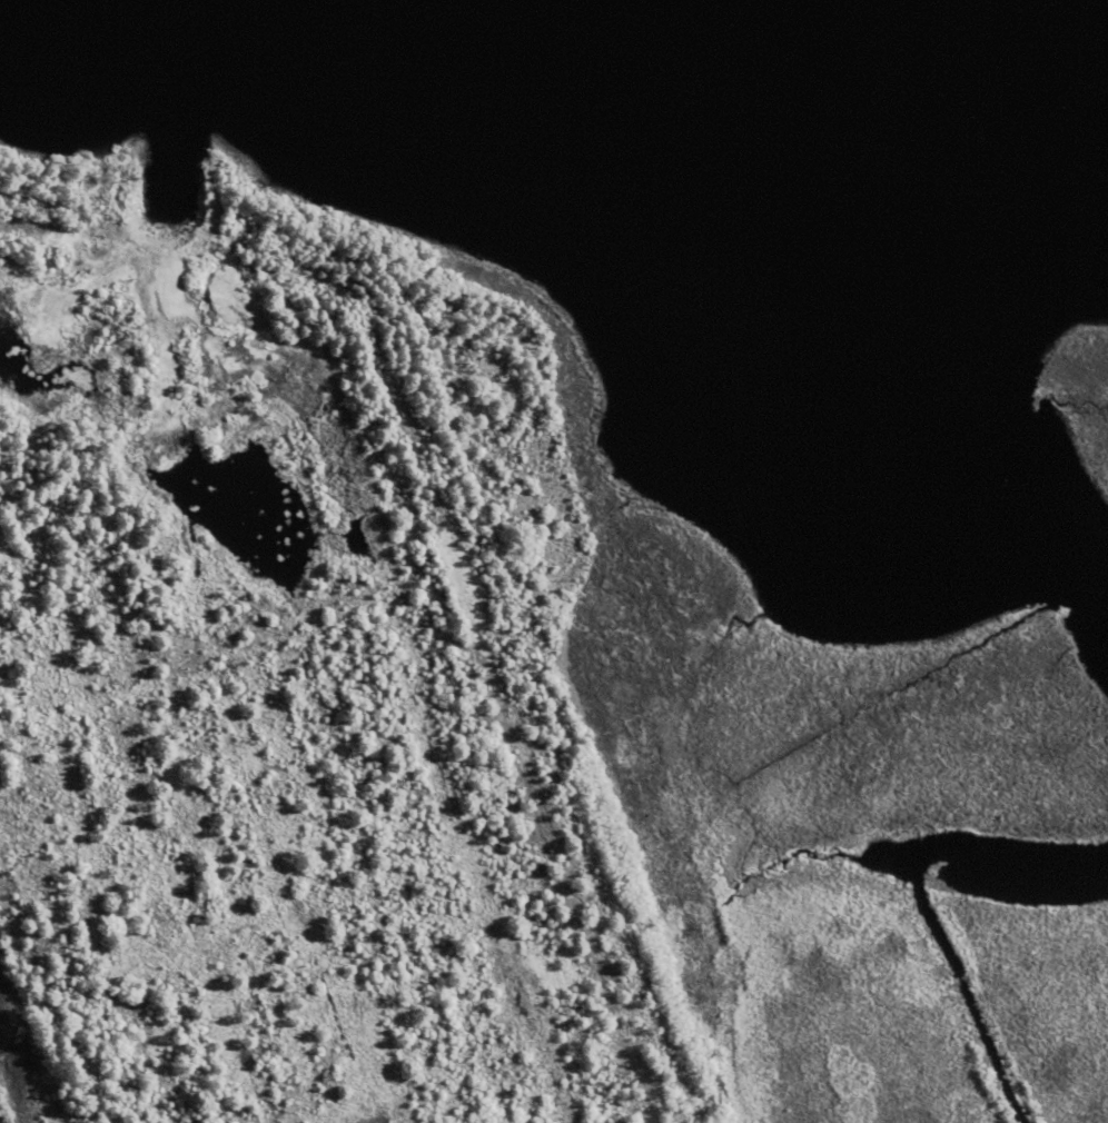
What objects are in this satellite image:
river: (864, 82)

